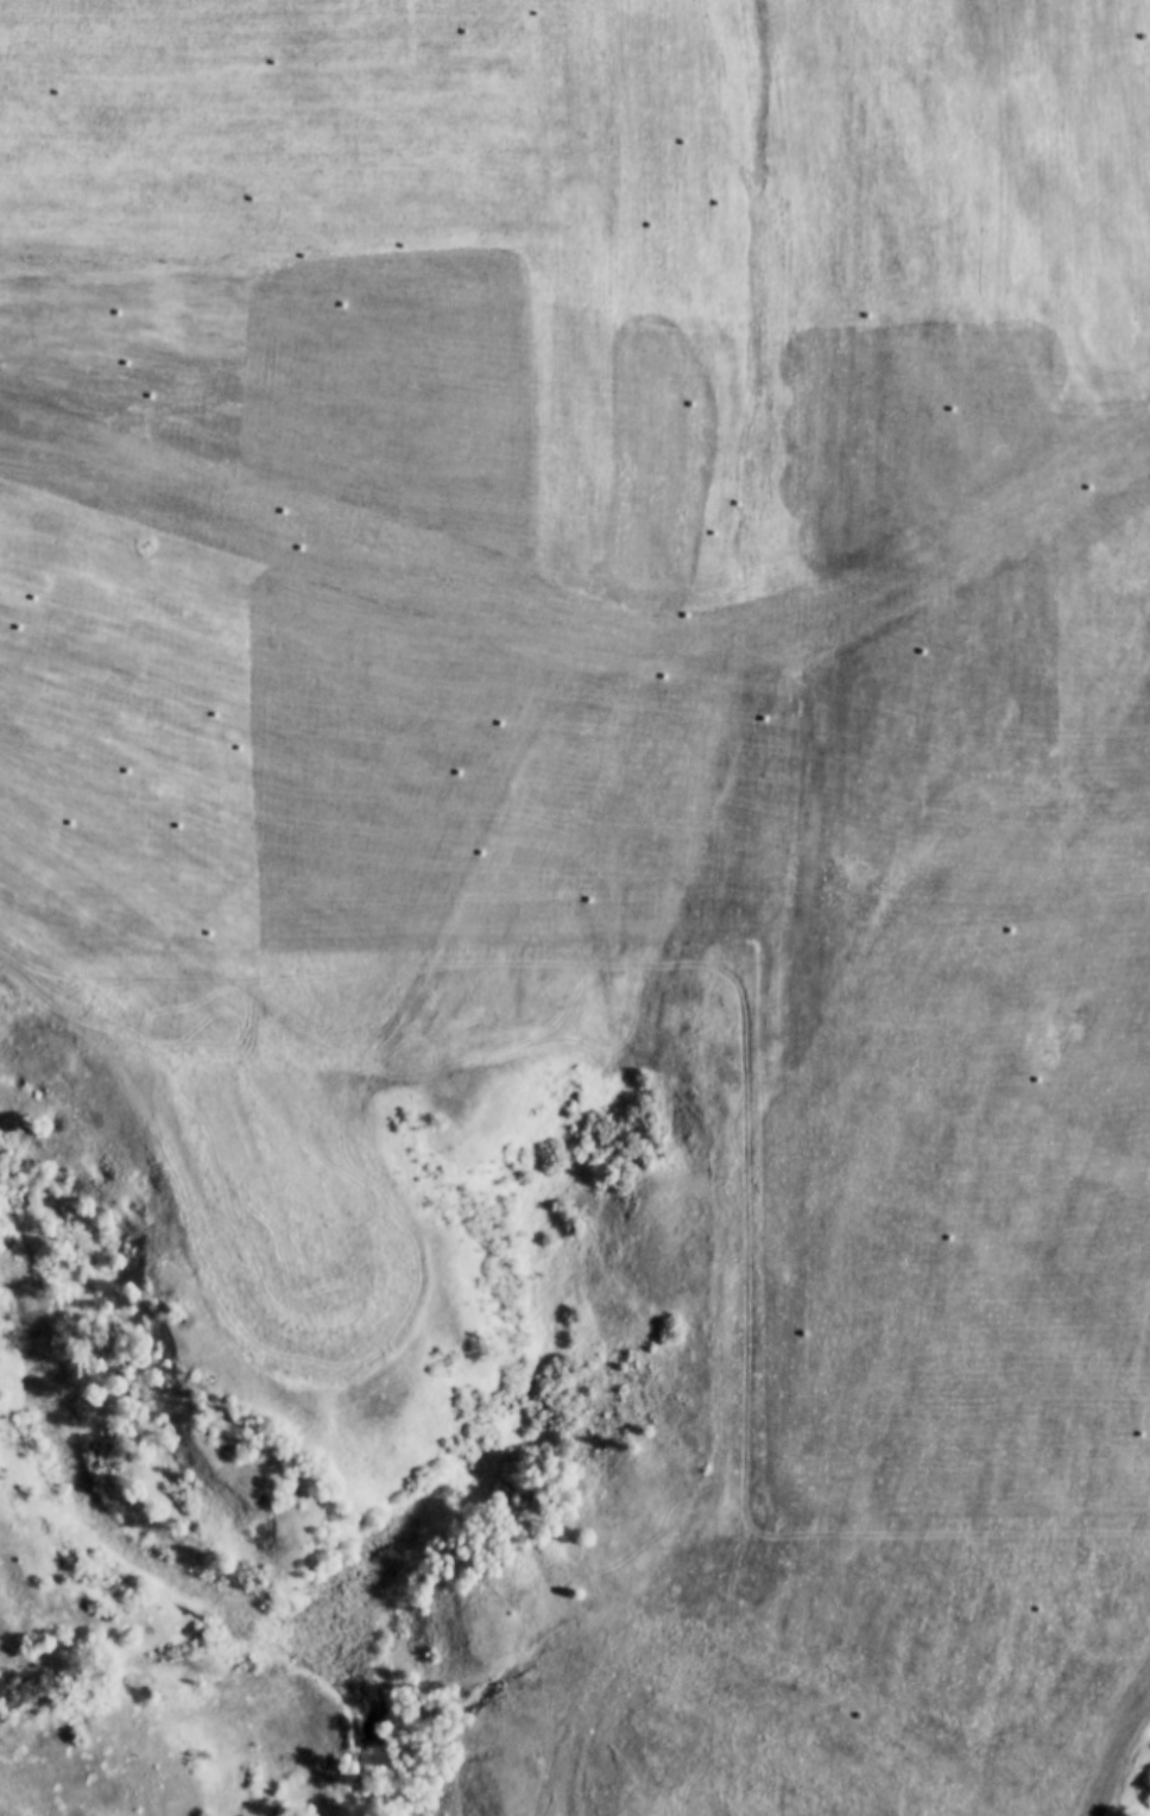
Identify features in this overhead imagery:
quarry: (241, 599)

